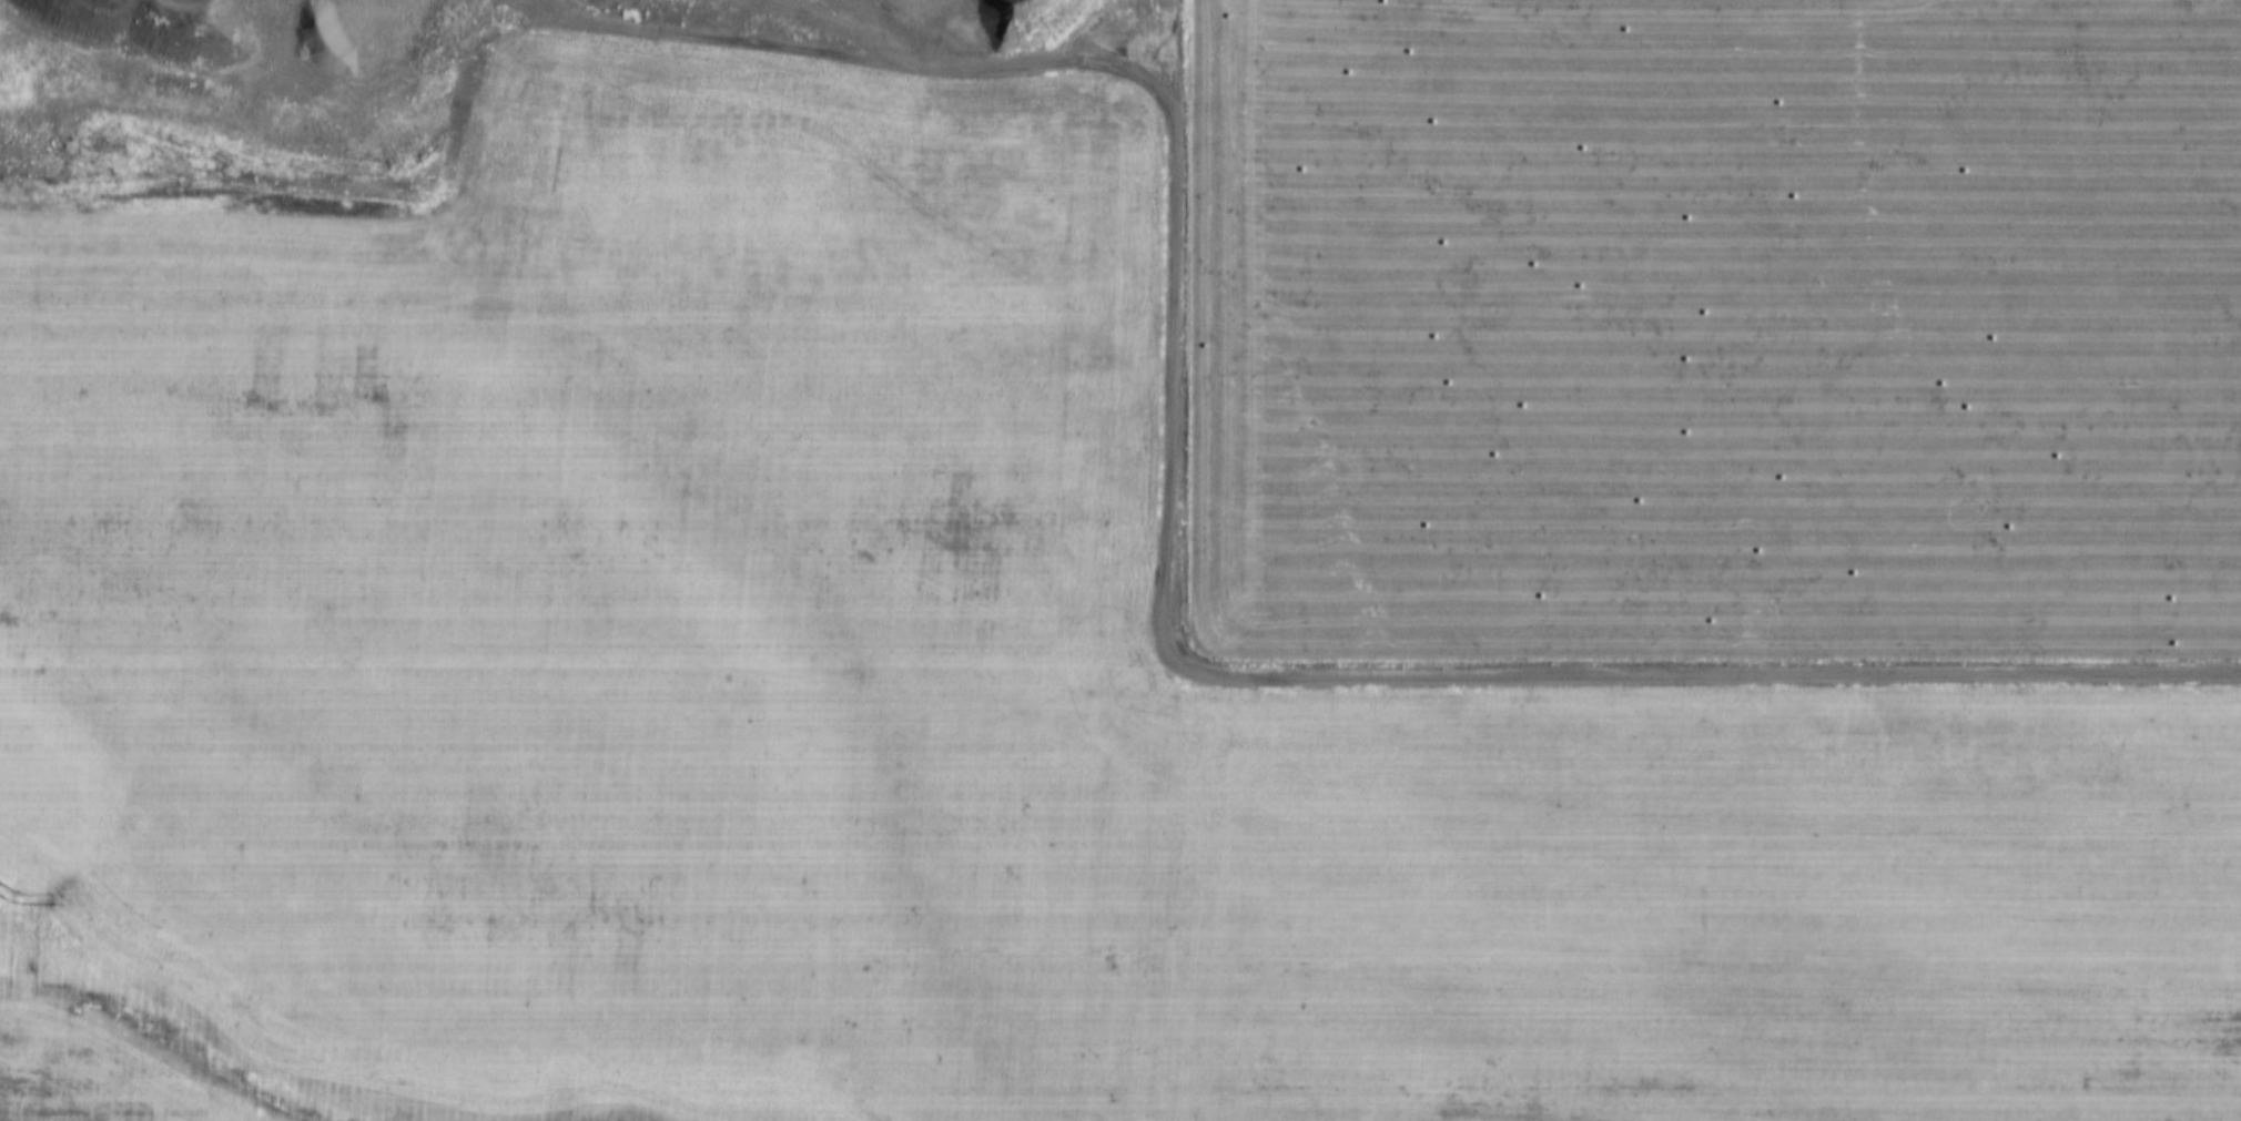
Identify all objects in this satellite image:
quarry: (418, 80)
road: (1166, 325)
road: (1702, 658)
road: (582, 685)
road: (1165, 886)

